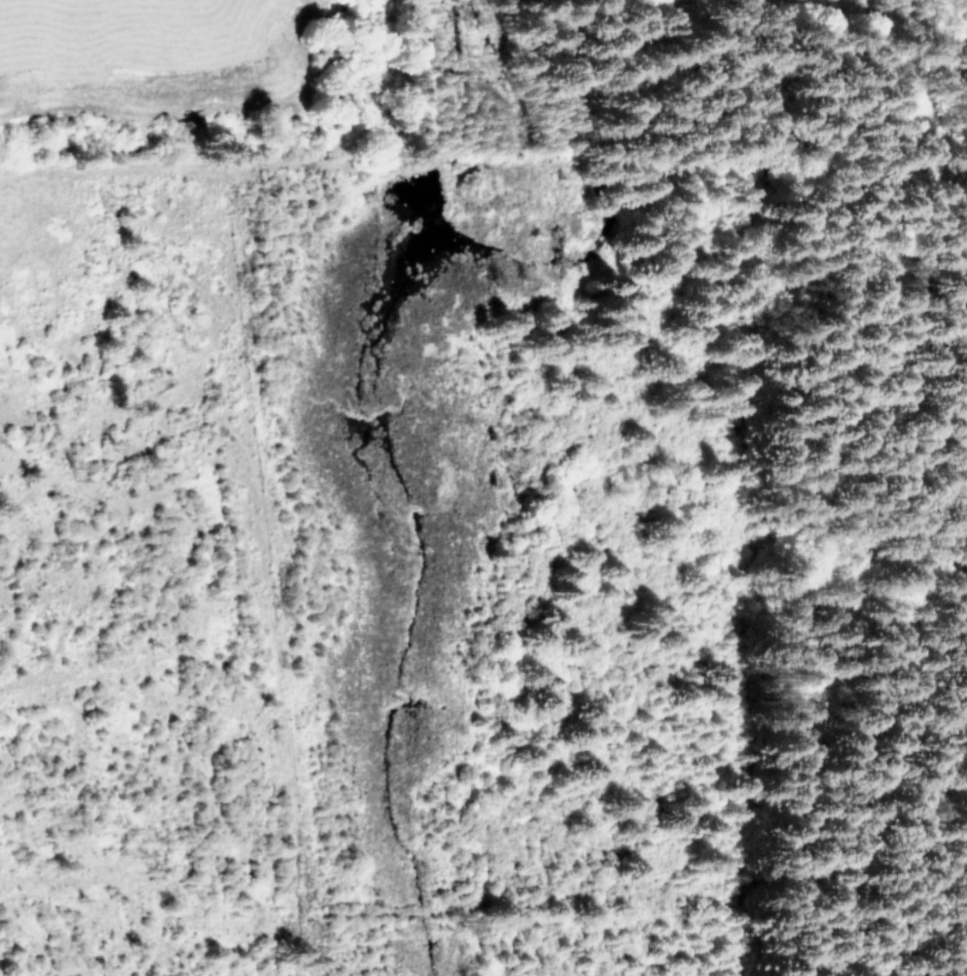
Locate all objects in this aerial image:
crop: (174, 76)

